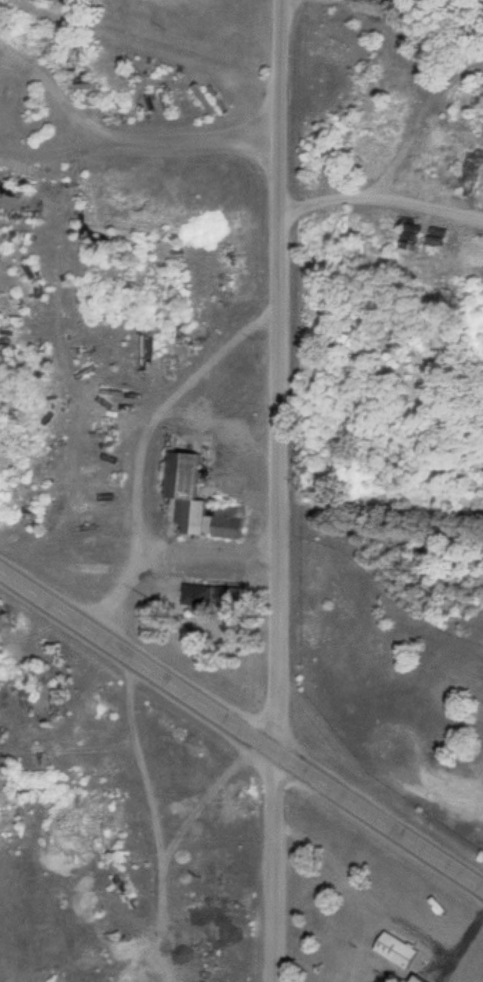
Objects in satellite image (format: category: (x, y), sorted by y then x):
building: (9, 108)
road: (273, 491)
building: (201, 503)
building: (214, 597)
road: (241, 730)
building: (397, 950)
building: (421, 978)

